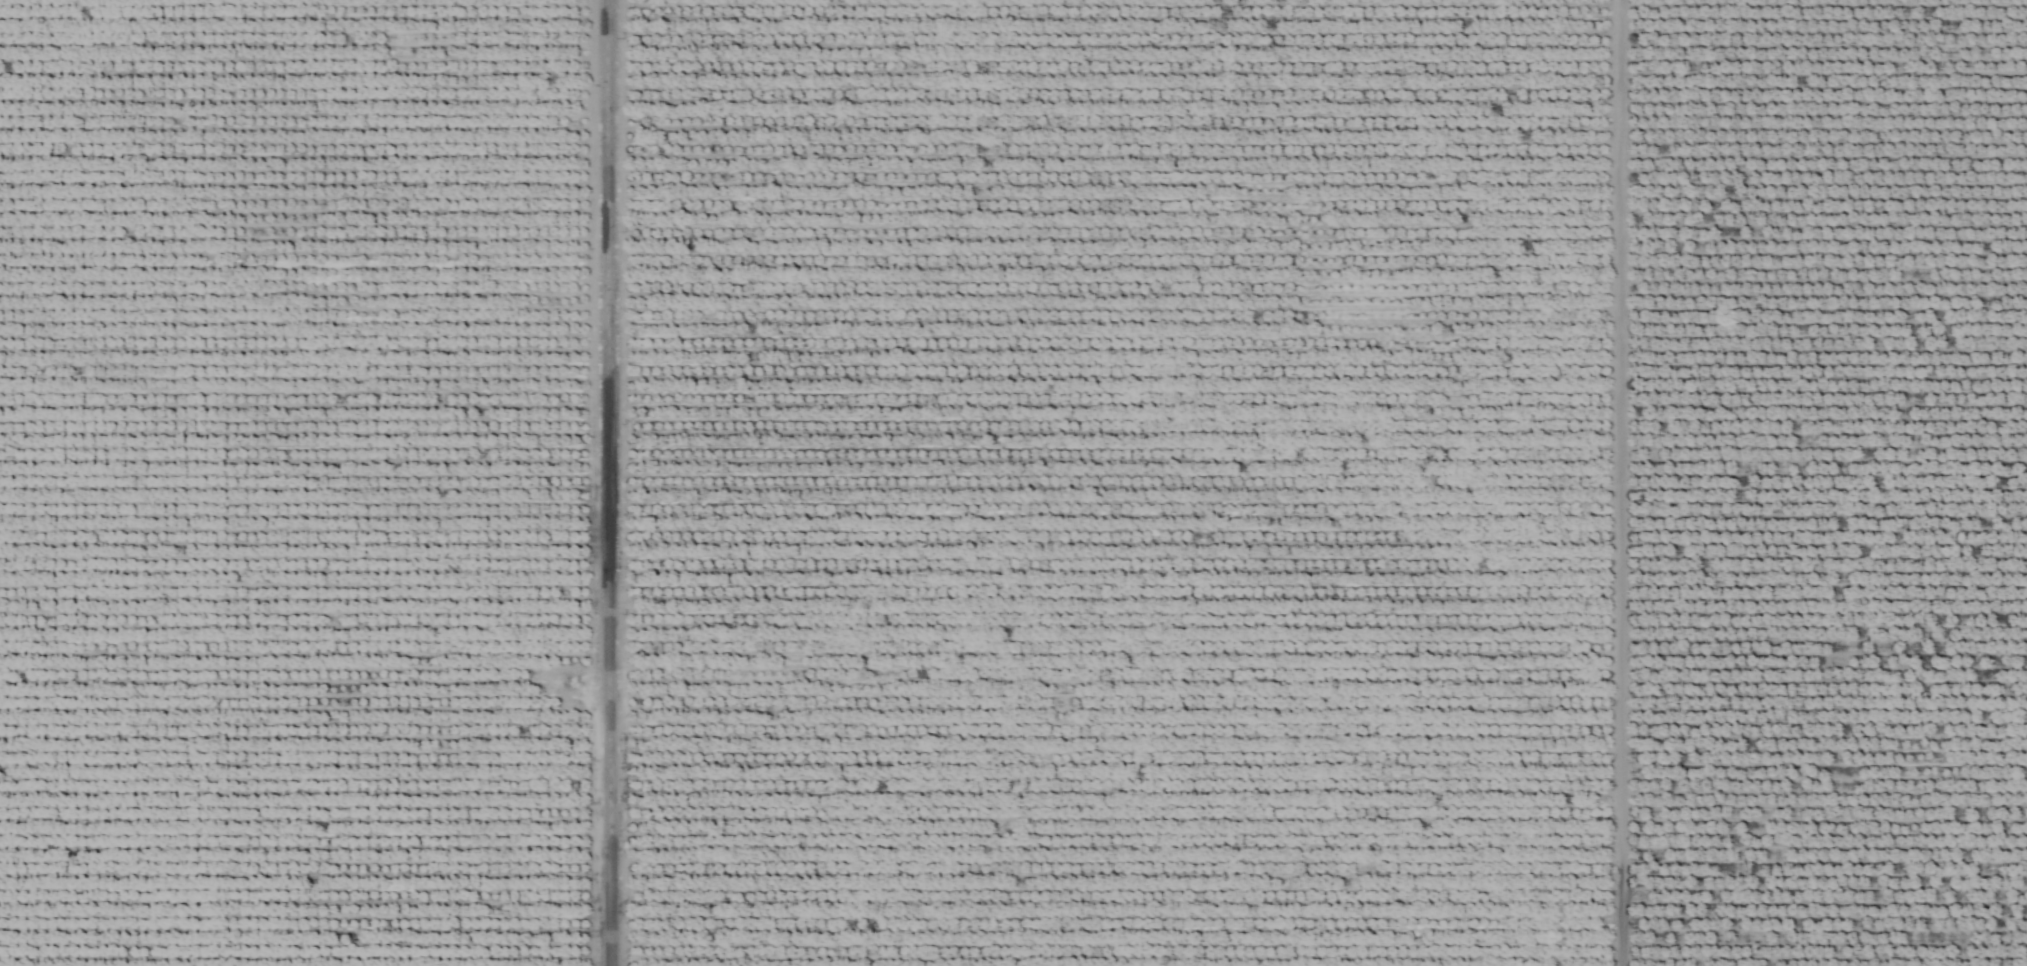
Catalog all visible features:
road: (605, 483)
crop: (1013, 483)

